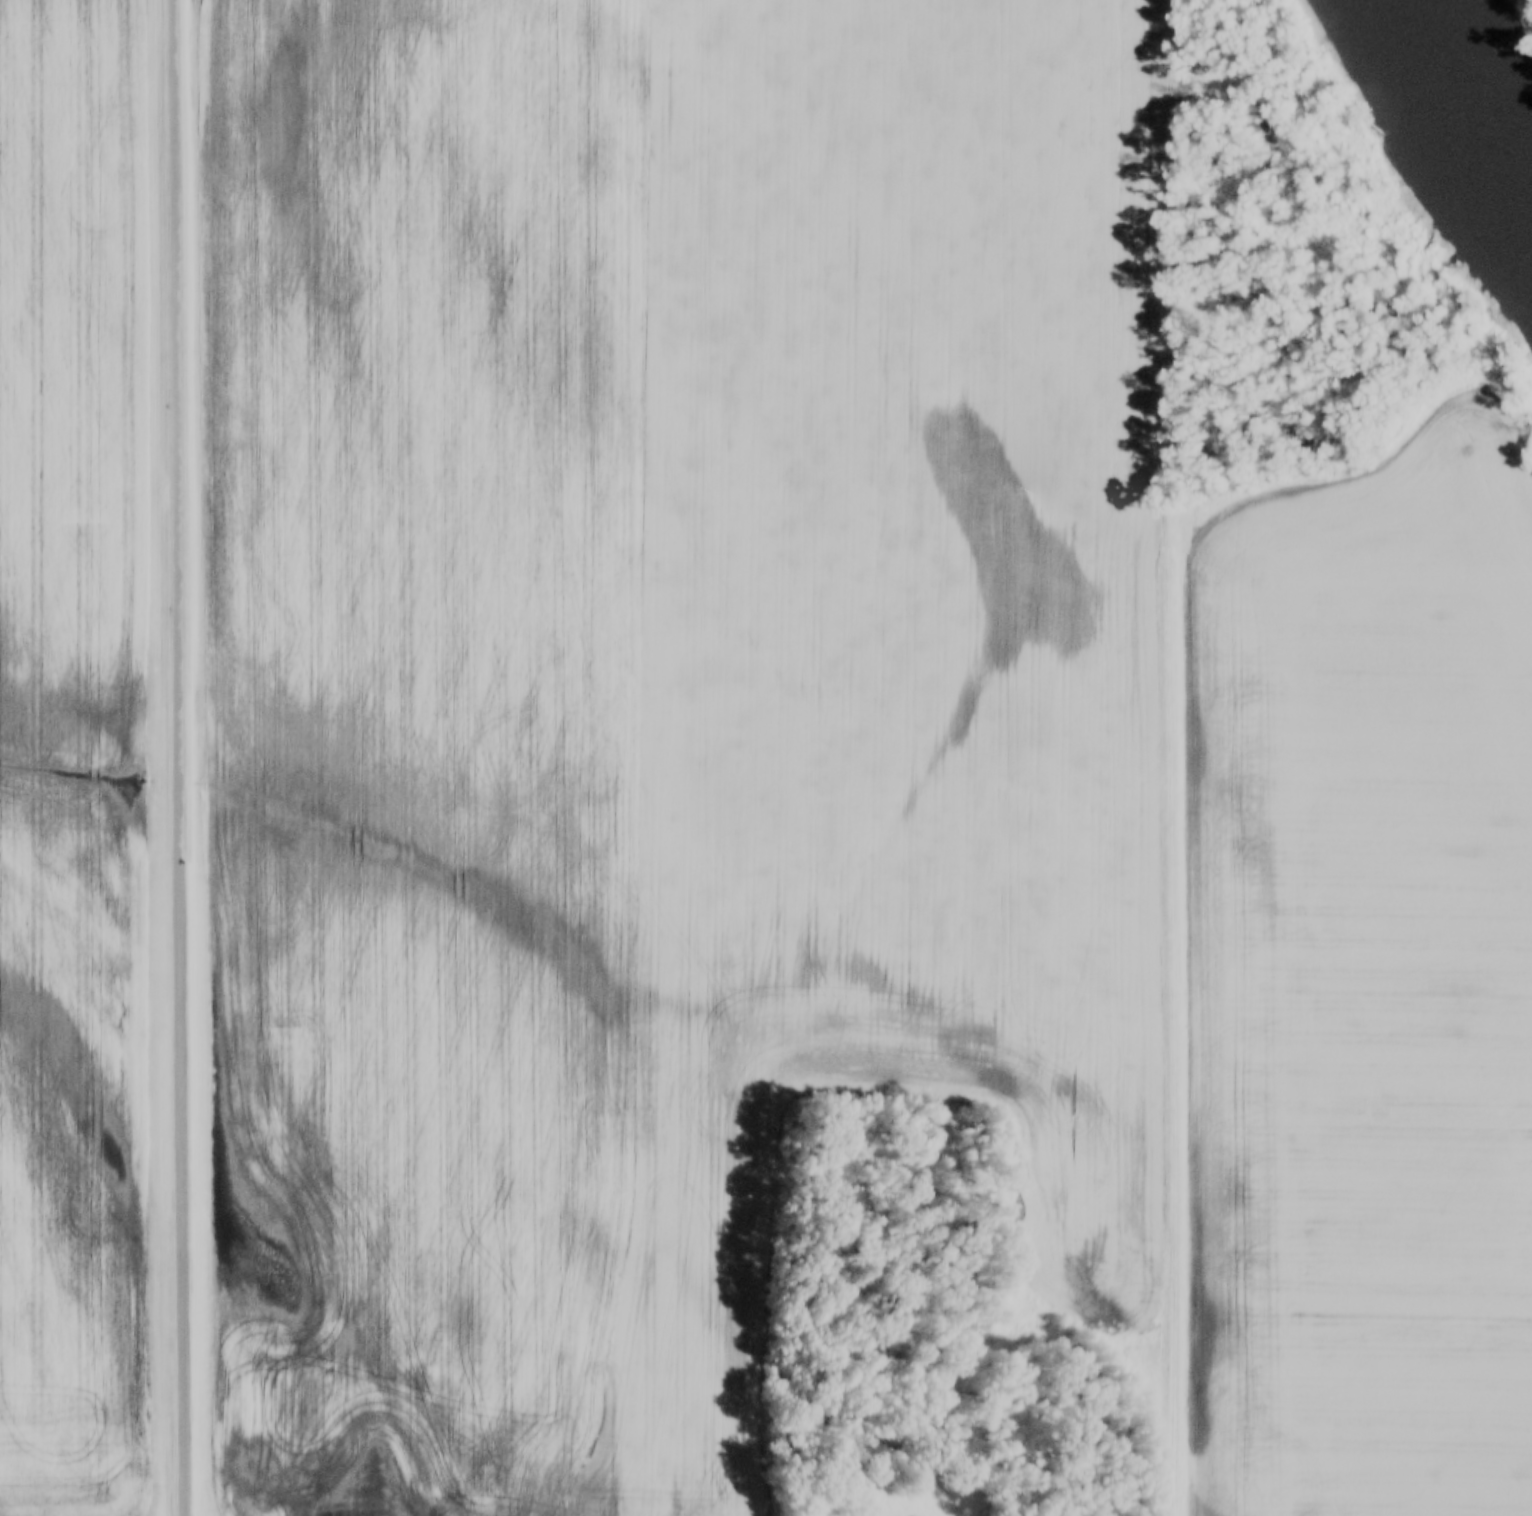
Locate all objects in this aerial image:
river: (1454, 117)
road: (182, 758)
road: (1183, 816)

